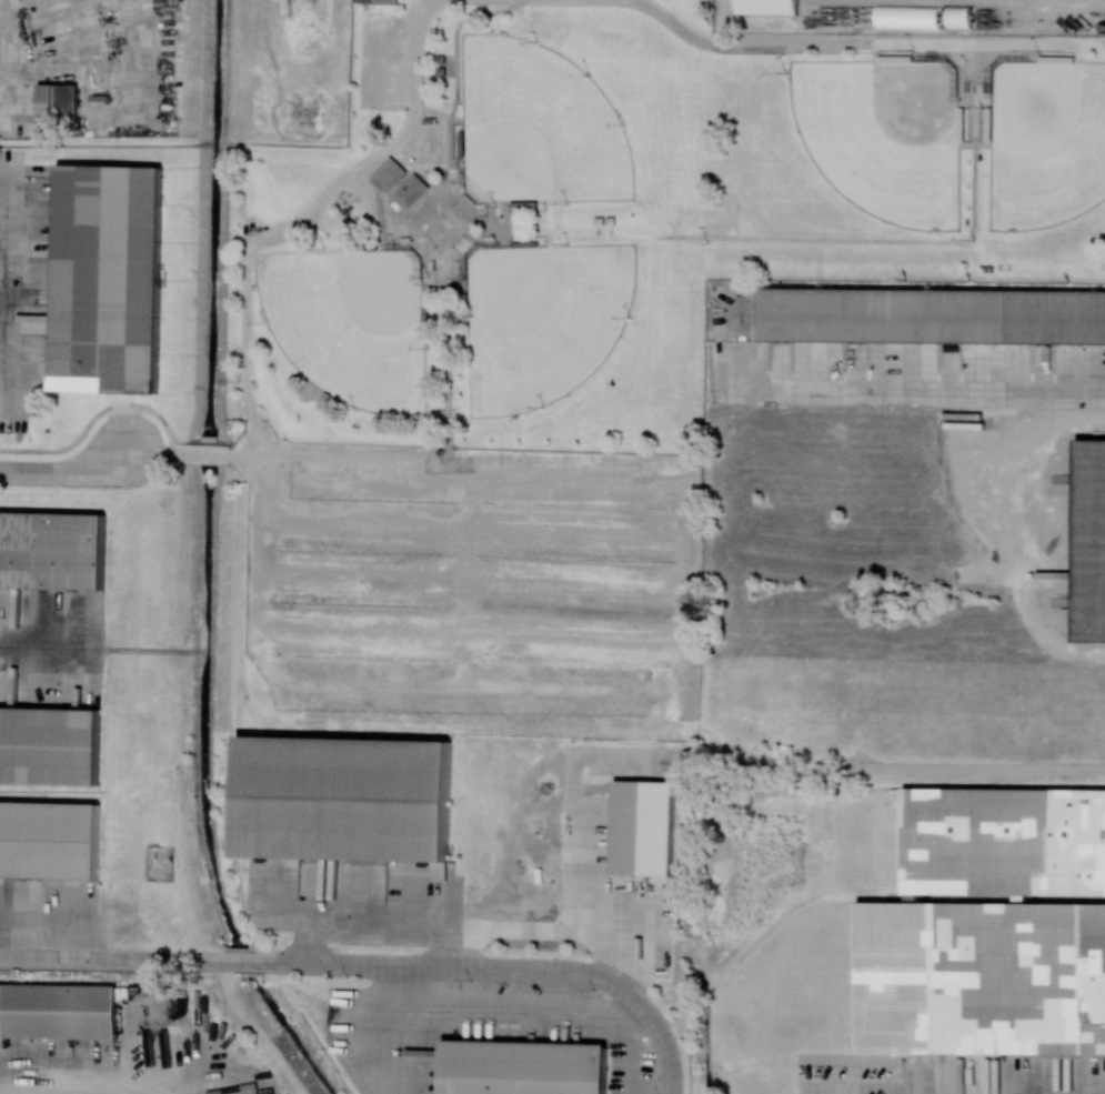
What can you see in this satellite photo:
building: (362, 1)
building: (385, 2)
road: (1064, 2)
building: (767, 8)
building: (908, 17)
building: (958, 17)
road: (863, 44)
building: (441, 58)
building: (441, 71)
building: (57, 102)
park: (534, 127)
park: (883, 133)
park: (1044, 142)
building: (386, 173)
building: (409, 190)
road: (444, 202)
road: (802, 239)
road: (3, 269)
building: (109, 279)
road: (460, 289)
building: (932, 315)
park: (540, 321)
park: (349, 324)
road: (918, 375)
road: (1059, 420)
road: (153, 453)
road: (204, 453)
road: (251, 454)
road: (66, 471)
building: (1089, 543)
building: (52, 550)
parking lot: (463, 560)
road: (44, 638)
building: (50, 745)
building: (346, 795)
building: (50, 840)
road: (331, 965)
building: (983, 977)
building: (58, 1011)
road: (398, 1032)
road: (671, 1048)
building: (525, 1067)
road: (50, 1088)

